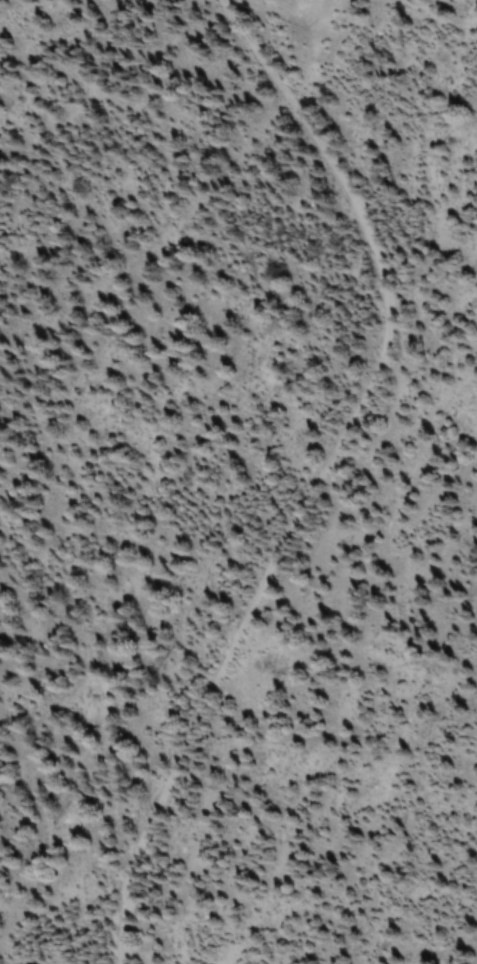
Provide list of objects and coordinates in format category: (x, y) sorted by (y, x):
road: (345, 464)

